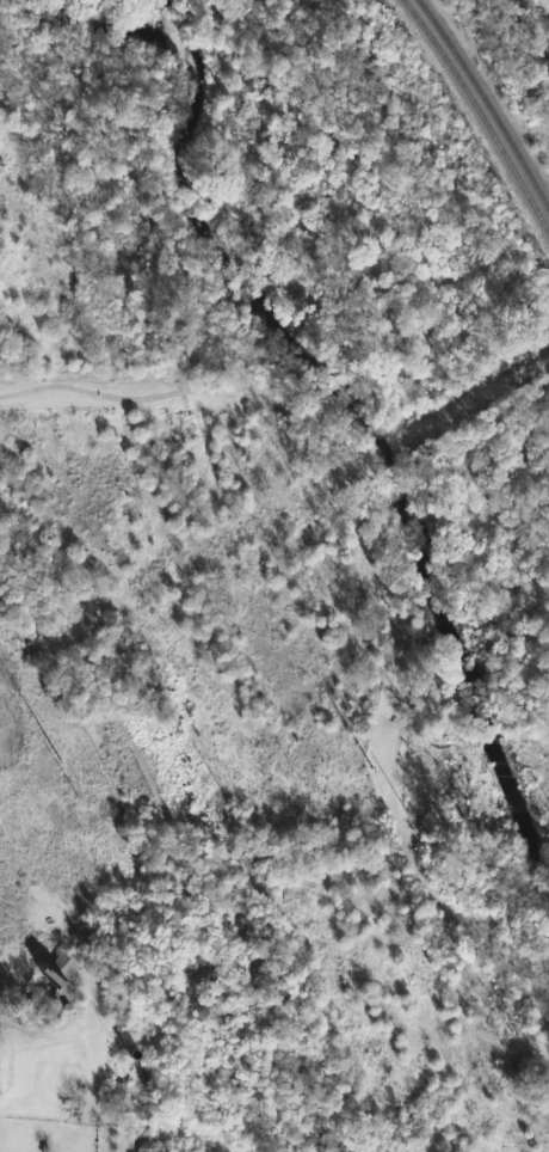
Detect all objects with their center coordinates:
railway: (366, 84)
railway: (487, 102)
railway: (481, 112)
road: (381, 568)
power tower: (61, 761)
power tower: (372, 770)
building: (260, 858)
building: (60, 979)
building: (160, 1151)

